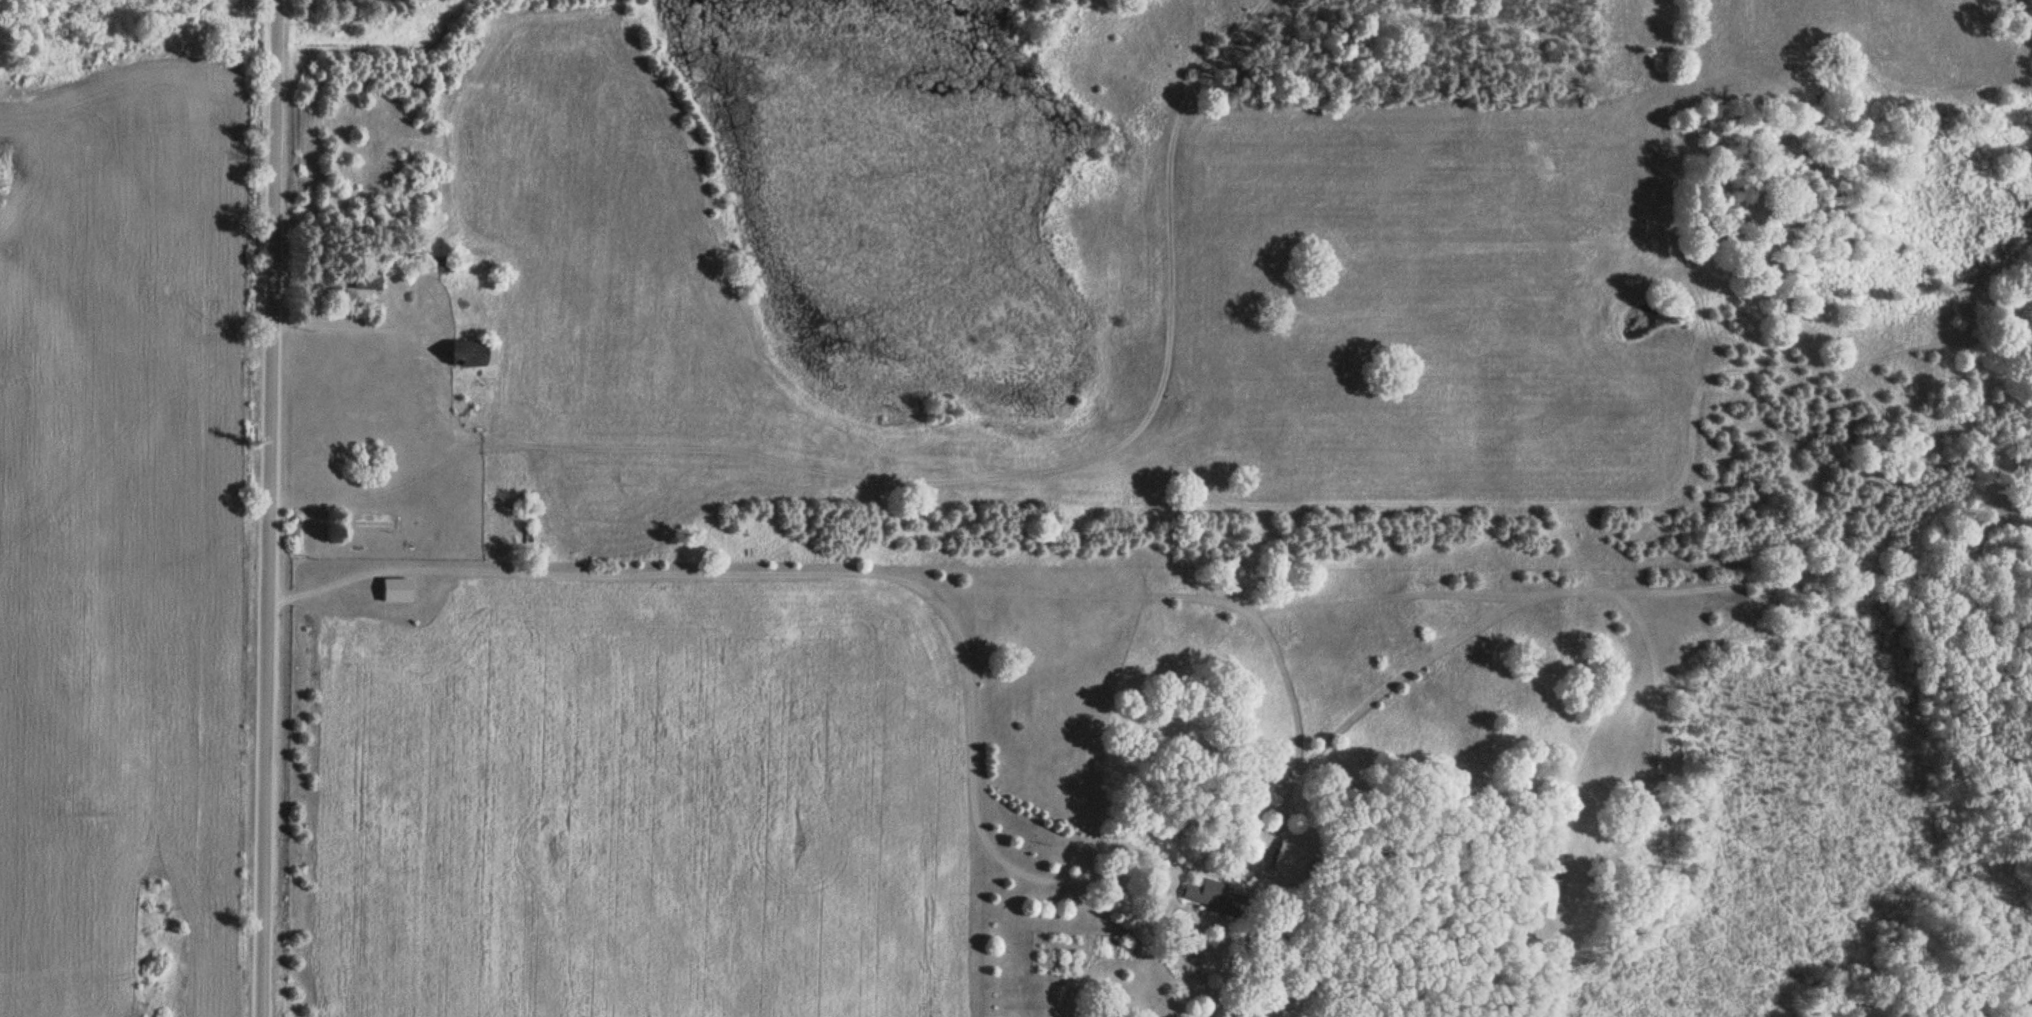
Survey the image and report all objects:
building: (367, 278)
road: (334, 322)
building: (472, 349)
road: (935, 481)
road: (268, 508)
building: (374, 524)
road: (817, 573)
building: (395, 586)
building: (1550, 890)
building: (1211, 895)

